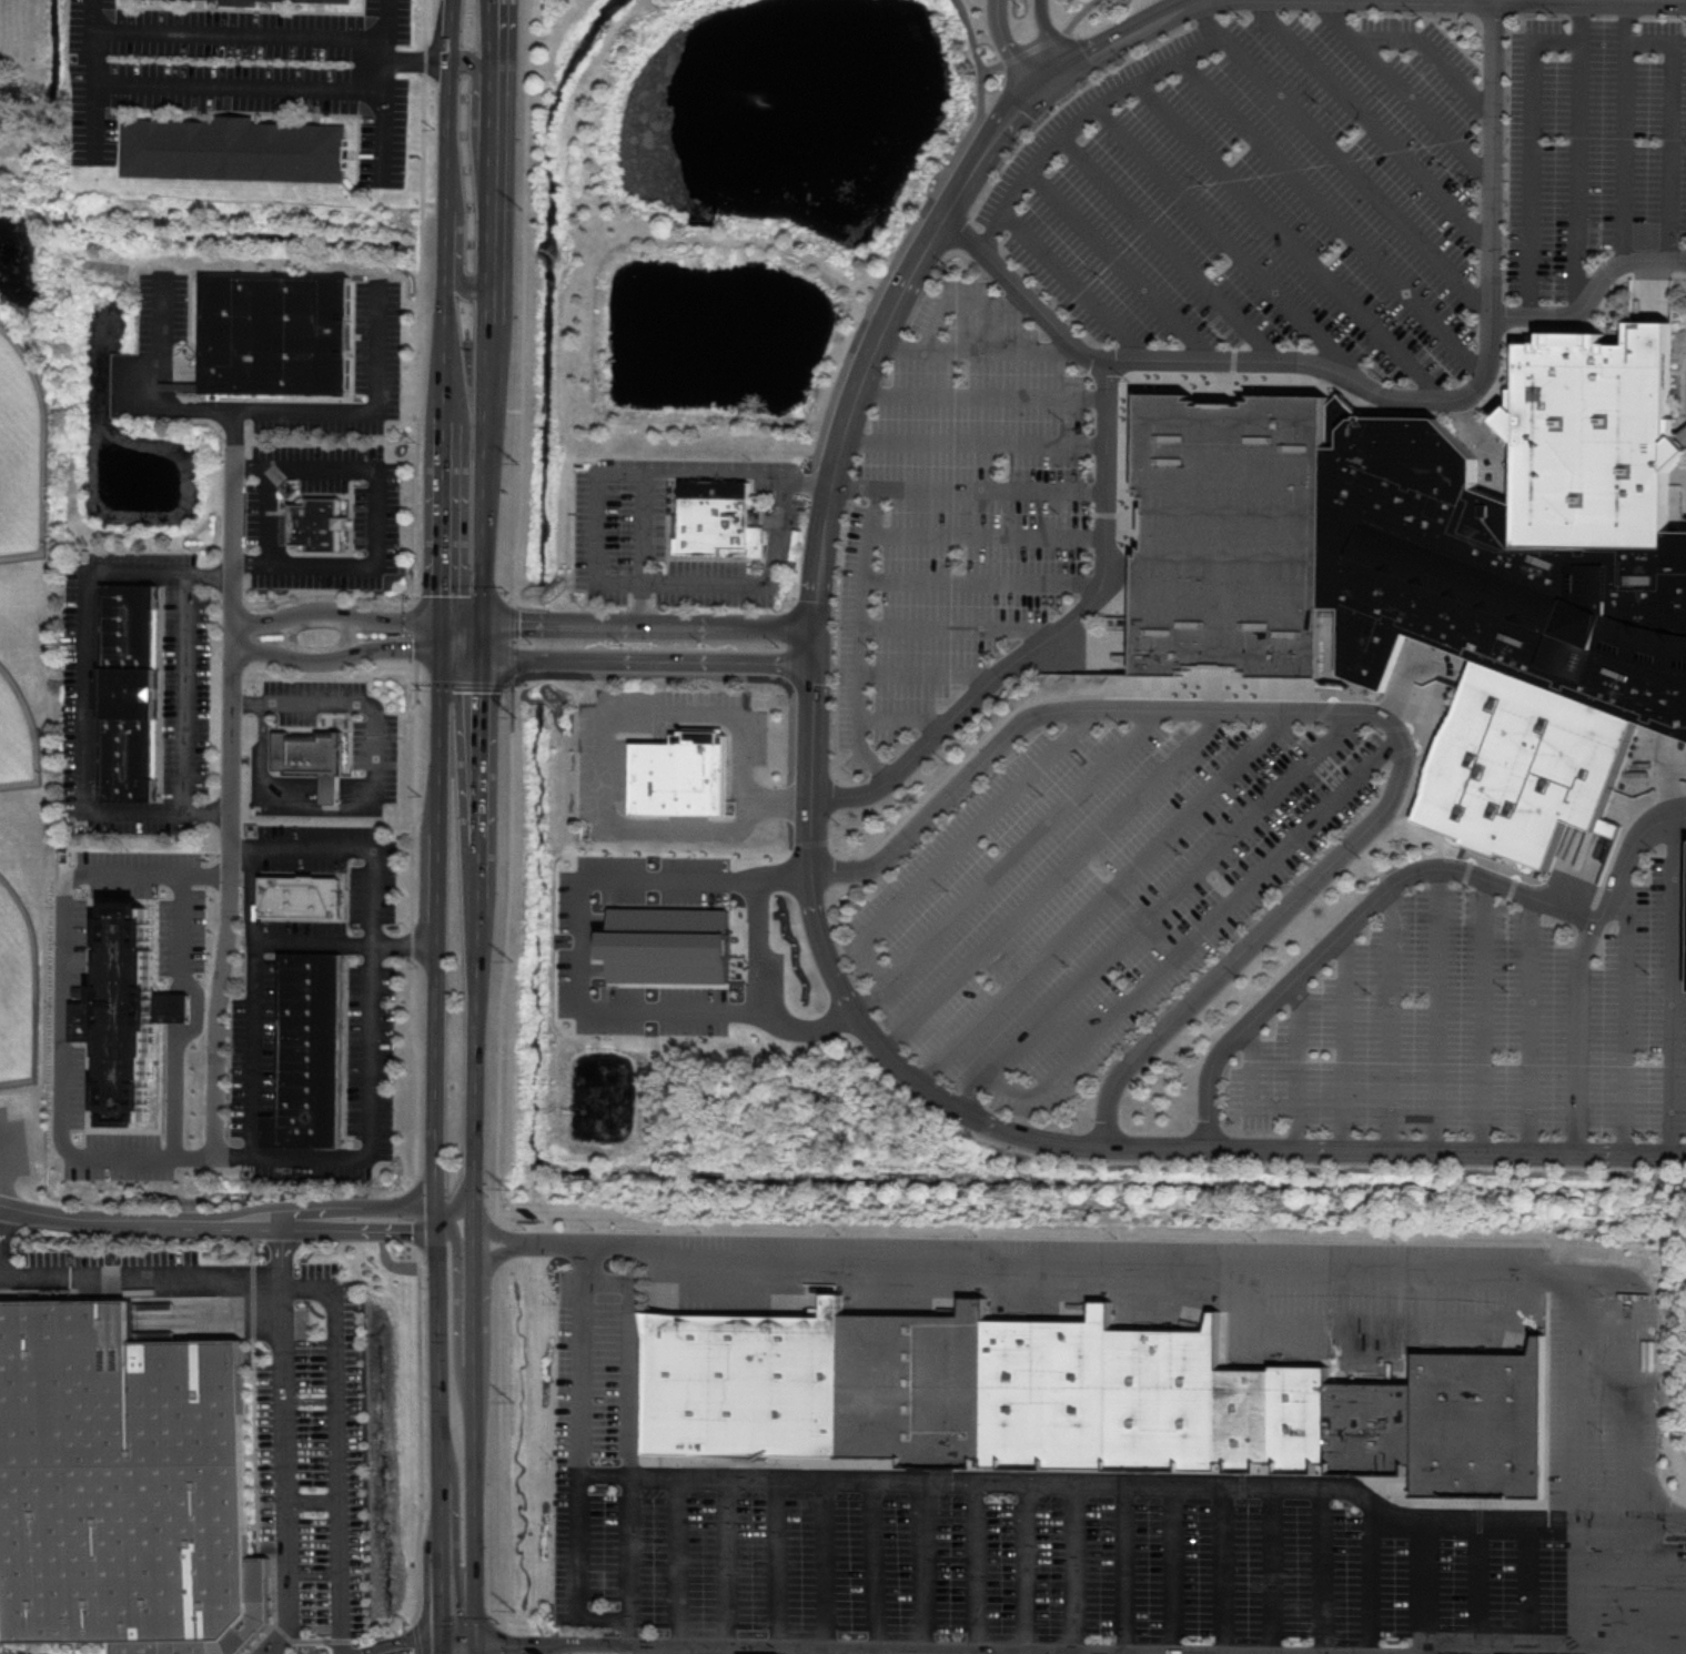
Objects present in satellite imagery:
building: (316, 1)
road: (95, 16)
road: (387, 21)
road: (1049, 34)
road: (242, 37)
road: (1043, 43)
road: (1008, 47)
road: (1431, 53)
road: (97, 58)
road: (418, 60)
road: (386, 67)
parking lot: (243, 71)
road: (483, 80)
road: (1043, 81)
road: (242, 89)
road: (1403, 90)
road: (1096, 105)
road: (98, 120)
road: (1370, 123)
road: (1670, 128)
road: (1624, 129)
road: (385, 138)
parking lot: (1593, 144)
building: (235, 150)
road: (1577, 151)
road: (1531, 153)
road: (1352, 173)
parking lot: (1263, 195)
road: (1330, 214)
road: (1220, 235)
road: (1288, 238)
road: (907, 239)
road: (1165, 245)
road: (1599, 260)
road: (1118, 262)
road: (461, 283)
road: (1072, 283)
road: (1553, 290)
road: (1022, 293)
road: (1591, 293)
road: (961, 302)
parking lot: (169, 305)
road: (1551, 309)
road: (442, 321)
road: (491, 321)
road: (1549, 327)
road: (1575, 330)
building: (281, 333)
parking lot: (386, 335)
road: (523, 341)
road: (973, 347)
road: (1233, 352)
road: (1147, 380)
road: (1462, 381)
road: (1381, 382)
road: (1478, 382)
road: (151, 383)
road: (1682, 387)
road: (1222, 394)
road: (981, 395)
road: (1495, 402)
road: (354, 411)
road: (850, 413)
building: (1340, 417)
road: (1339, 422)
building: (1595, 437)
road: (1493, 440)
road: (1685, 440)
road: (973, 442)
park: (21, 452)
road: (808, 482)
road: (992, 487)
road: (1086, 512)
road: (1106, 513)
parking lot: (384, 514)
parking lot: (957, 515)
road: (266, 516)
road: (376, 516)
building: (717, 516)
building: (320, 524)
road: (1138, 524)
road: (987, 534)
building: (1234, 537)
road: (642, 547)
parking lot: (645, 549)
building: (1493, 576)
road: (602, 581)
road: (982, 581)
road: (862, 612)
road: (637, 624)
road: (956, 627)
road: (1050, 634)
road: (250, 637)
traffic signals: (464, 641)
road: (812, 644)
road: (1061, 649)
road: (1334, 650)
road: (1414, 656)
road: (636, 659)
road: (926, 673)
road: (730, 676)
road: (1219, 680)
road: (89, 690)
road: (185, 693)
building: (133, 694)
road: (1137, 694)
road: (1349, 712)
road: (902, 718)
road: (262, 722)
road: (1319, 722)
parking lot: (351, 724)
road: (1395, 726)
parking lot: (656, 733)
park: (17, 734)
road: (1660, 744)
road: (1410, 748)
building: (309, 750)
road: (374, 758)
road: (600, 762)
building: (1524, 764)
building: (683, 776)
road: (1667, 778)
road: (1678, 781)
road: (1679, 805)
road: (1679, 819)
road: (962, 840)
road: (1482, 853)
road: (1007, 860)
road: (1532, 869)
road: (1605, 869)
parking lot: (341, 871)
road: (1533, 876)
road: (1400, 877)
road: (1054, 880)
road: (1462, 885)
parking lot: (1098, 889)
road: (232, 897)
building: (302, 897)
road: (1104, 897)
road: (1506, 900)
road: (1157, 910)
road: (1200, 934)
road: (357, 945)
parking lot: (588, 948)
road: (765, 948)
building: (675, 954)
road: (582, 970)
road: (1672, 982)
park: (18, 987)
road: (252, 1000)
building: (123, 1001)
road: (370, 1006)
road: (1436, 1008)
road: (63, 1010)
road: (200, 1012)
road: (1481, 1013)
road: (1624, 1018)
road: (1390, 1019)
parking lot: (1485, 1019)
road: (1528, 1023)
road: (1577, 1033)
parking lot: (256, 1039)
road: (1343, 1041)
building: (311, 1055)
parking lot: (375, 1055)
road: (1296, 1063)
road: (1250, 1088)
road: (1068, 1142)
road: (460, 1147)
road: (496, 1167)
road: (3, 1178)
road: (229, 1216)
road: (284, 1247)
road: (1204, 1270)
road: (1385, 1324)
road: (285, 1325)
road: (633, 1359)
building: (748, 1383)
building: (918, 1385)
building: (1051, 1391)
building: (1169, 1398)
building: (1302, 1414)
building: (1483, 1424)
building: (1373, 1426)
road: (339, 1445)
parking lot: (312, 1453)
building: (120, 1477)
road: (911, 1482)
road: (314, 1500)
road: (1639, 1525)
road: (633, 1549)
parking lot: (1034, 1551)
road: (682, 1564)
road: (729, 1566)
road: (780, 1566)
road: (830, 1567)
road: (877, 1567)
road: (930, 1569)
road: (981, 1569)
road: (1030, 1570)
road: (1078, 1570)
road: (1127, 1570)
road: (1174, 1571)
road: (1226, 1571)
road: (1273, 1572)
road: (1325, 1572)
road: (582, 1580)
road: (1373, 1580)
road: (1480, 1583)
road: (1526, 1584)
road: (1577, 1584)
road: (1426, 1585)
road: (1646, 1590)
road: (515, 1644)
road: (623, 1644)
road: (1532, 1645)
road: (1666, 1645)
parking lot: (19, 1651)
traffic signals: (464, 1651)
road: (434, 1652)
road: (466, 1652)
road: (703, 1652)
road: (672, 1653)
road: (677, 1653)

